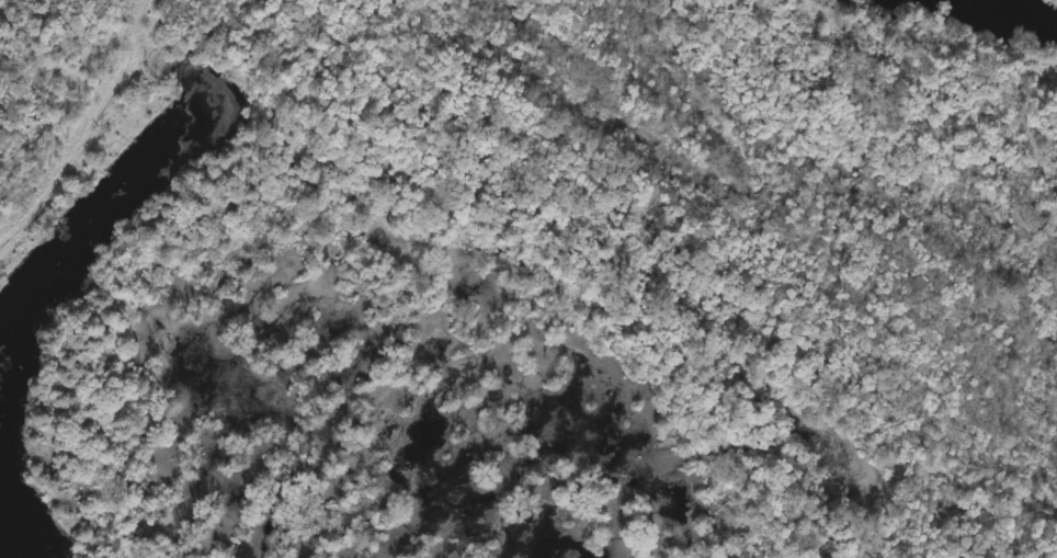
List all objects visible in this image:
road: (93, 121)
road: (8, 234)

